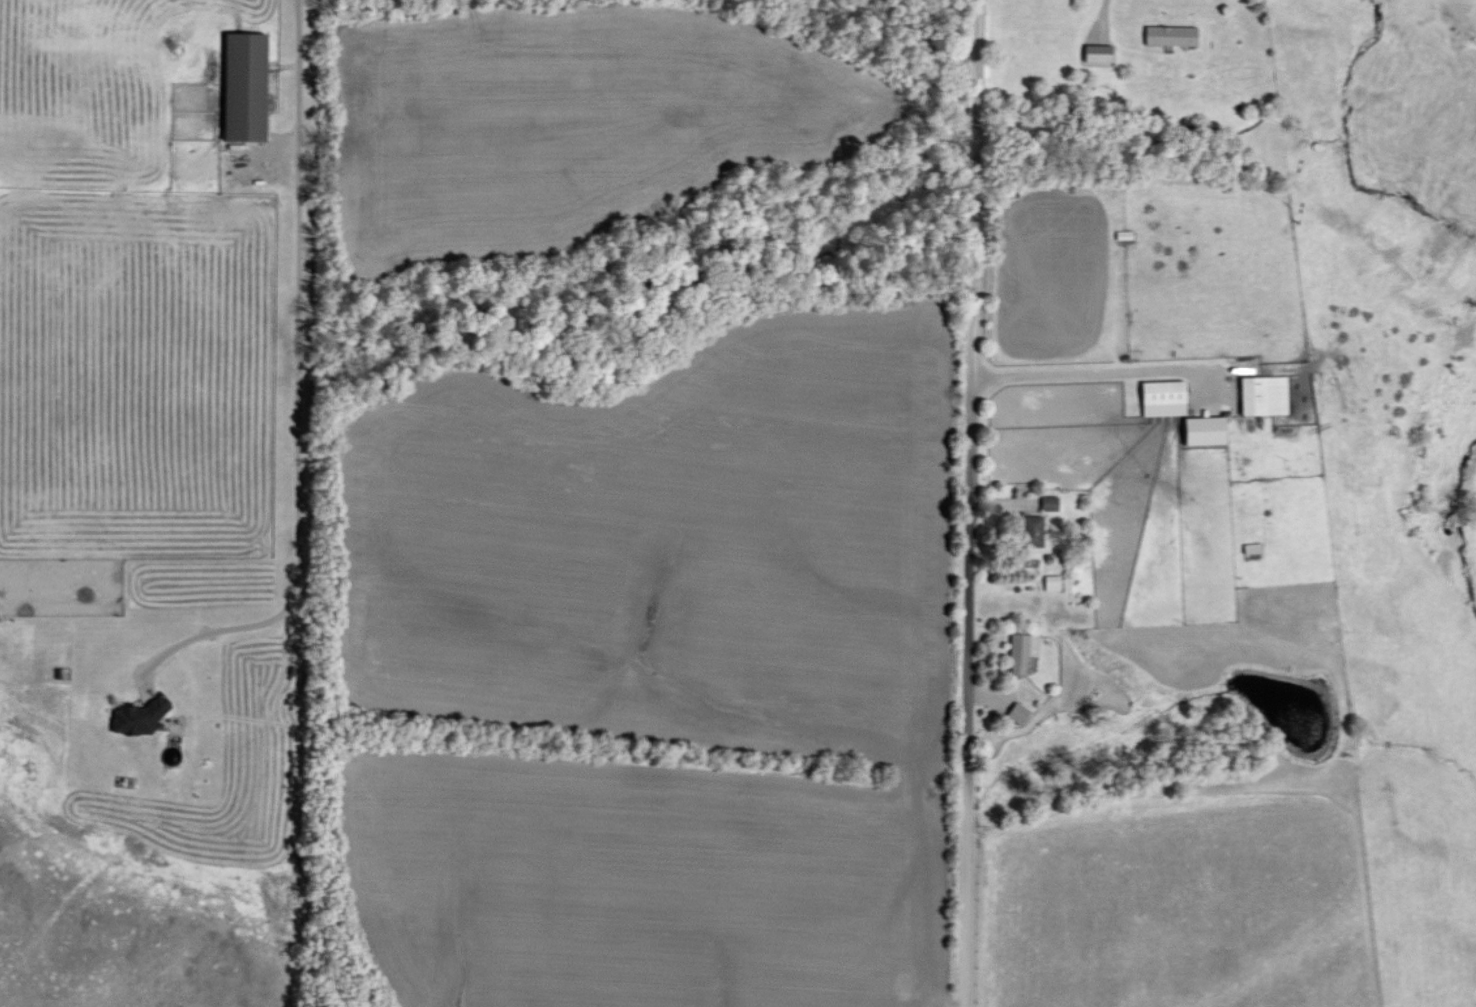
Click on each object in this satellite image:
building: (1173, 35)
building: (1100, 53)
building: (247, 87)
road: (1094, 371)
road: (297, 389)
building: (1265, 394)
building: (1166, 397)
building: (1207, 429)
building: (1050, 502)
road: (967, 503)
building: (1035, 530)
building: (1052, 582)
building: (1023, 651)
building: (1019, 713)
building: (137, 716)

